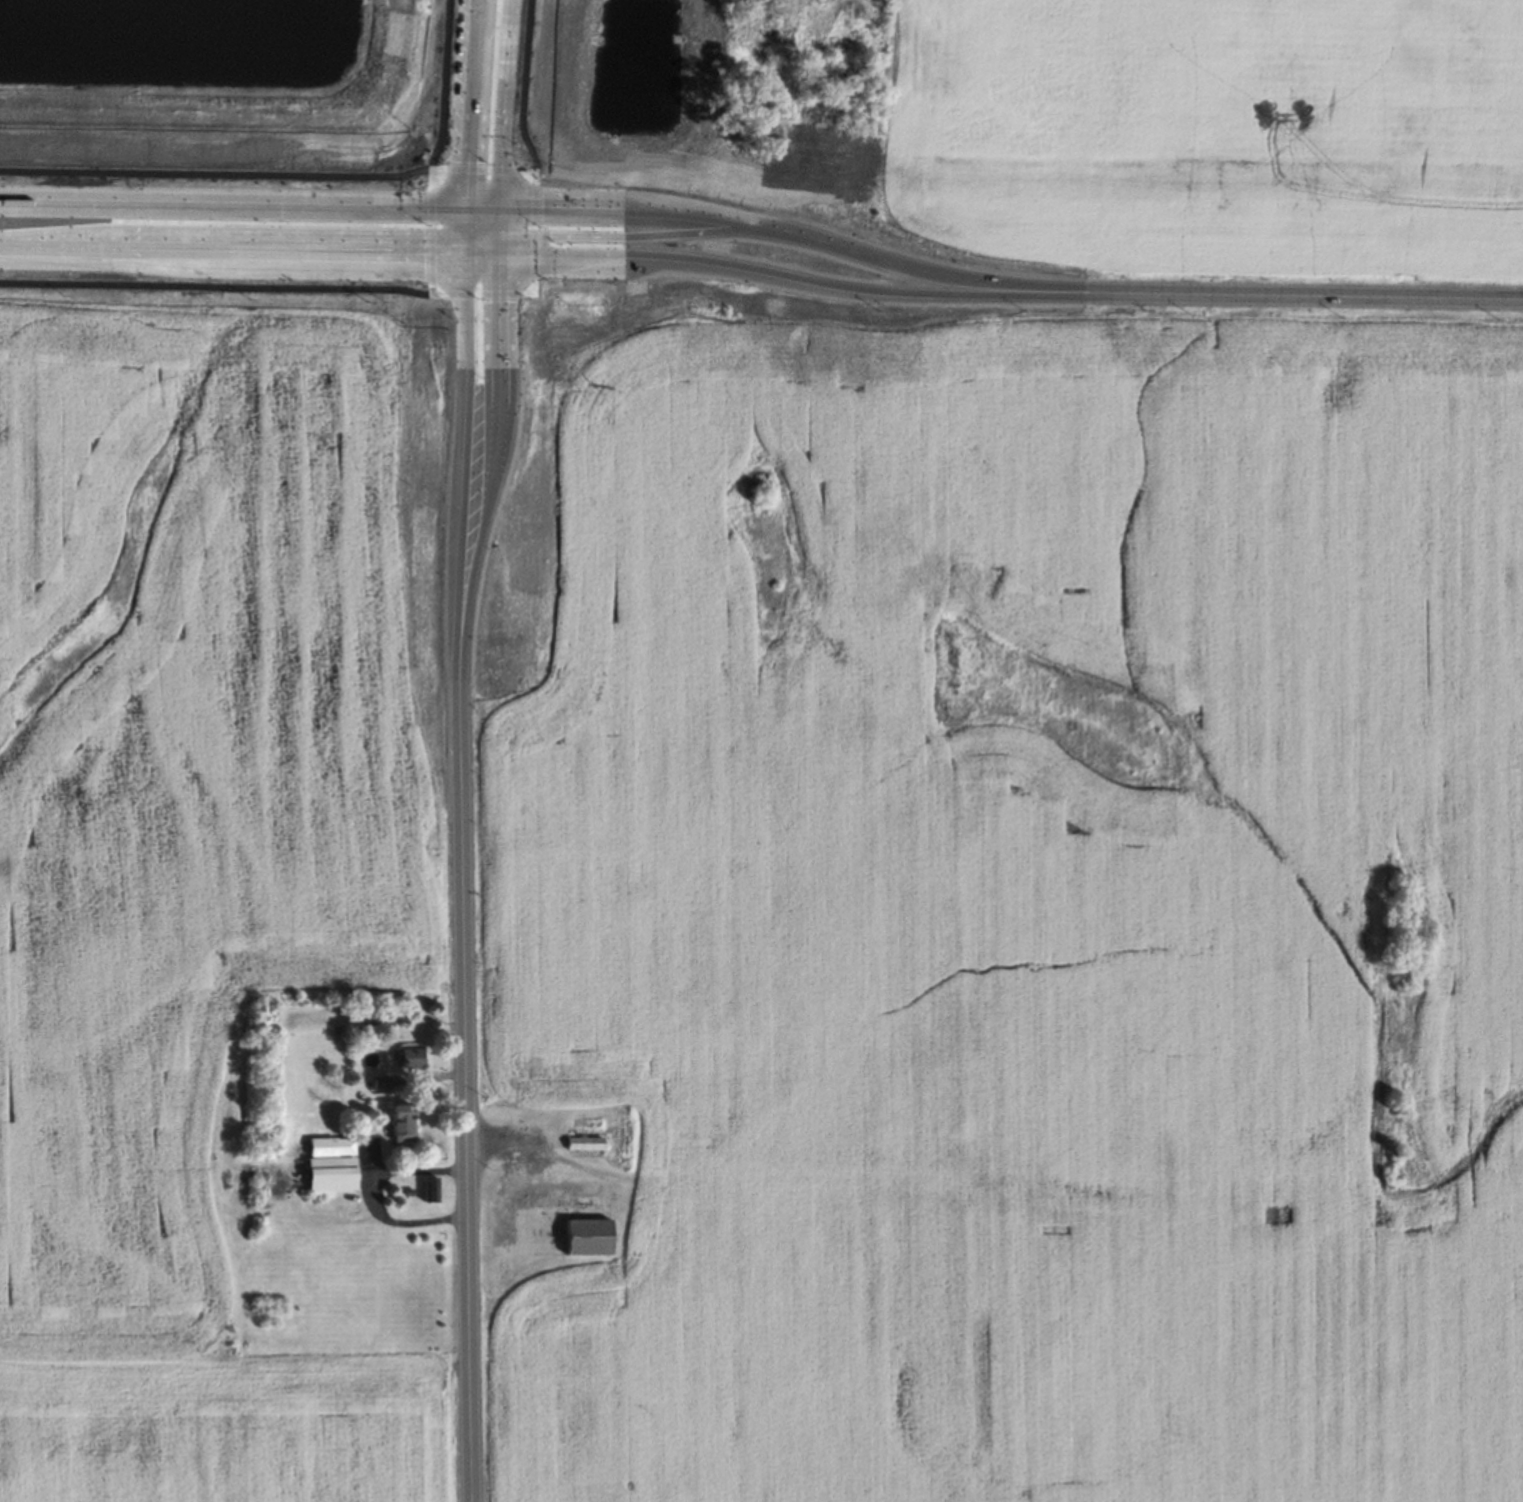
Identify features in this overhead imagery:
road: (443, 85)
road: (523, 86)
road: (471, 103)
road: (505, 103)
traffic signals: (468, 161)
road: (437, 169)
road: (489, 170)
road: (215, 173)
road: (430, 177)
road: (232, 202)
road: (483, 207)
traffic signals: (541, 207)
road: (499, 221)
road: (465, 231)
road: (534, 231)
road: (632, 235)
road: (815, 238)
road: (431, 240)
road: (480, 243)
road: (498, 246)
road: (232, 252)
traffic signals: (422, 255)
road: (481, 256)
road: (811, 282)
road: (215, 285)
road: (481, 293)
road: (1325, 297)
traffic signals: (497, 301)
road: (464, 454)
road: (495, 456)
crop: (186, 791)
crop: (1027, 923)
building: (407, 1052)
road: (464, 1077)
building: (377, 1078)
building: (398, 1110)
building: (342, 1142)
building: (580, 1142)
building: (325, 1151)
building: (326, 1171)
building: (498, 1171)
building: (426, 1188)
building: (486, 1188)
building: (405, 1190)
road: (375, 1196)
building: (532, 1200)
building: (583, 1233)
crop: (217, 1438)

